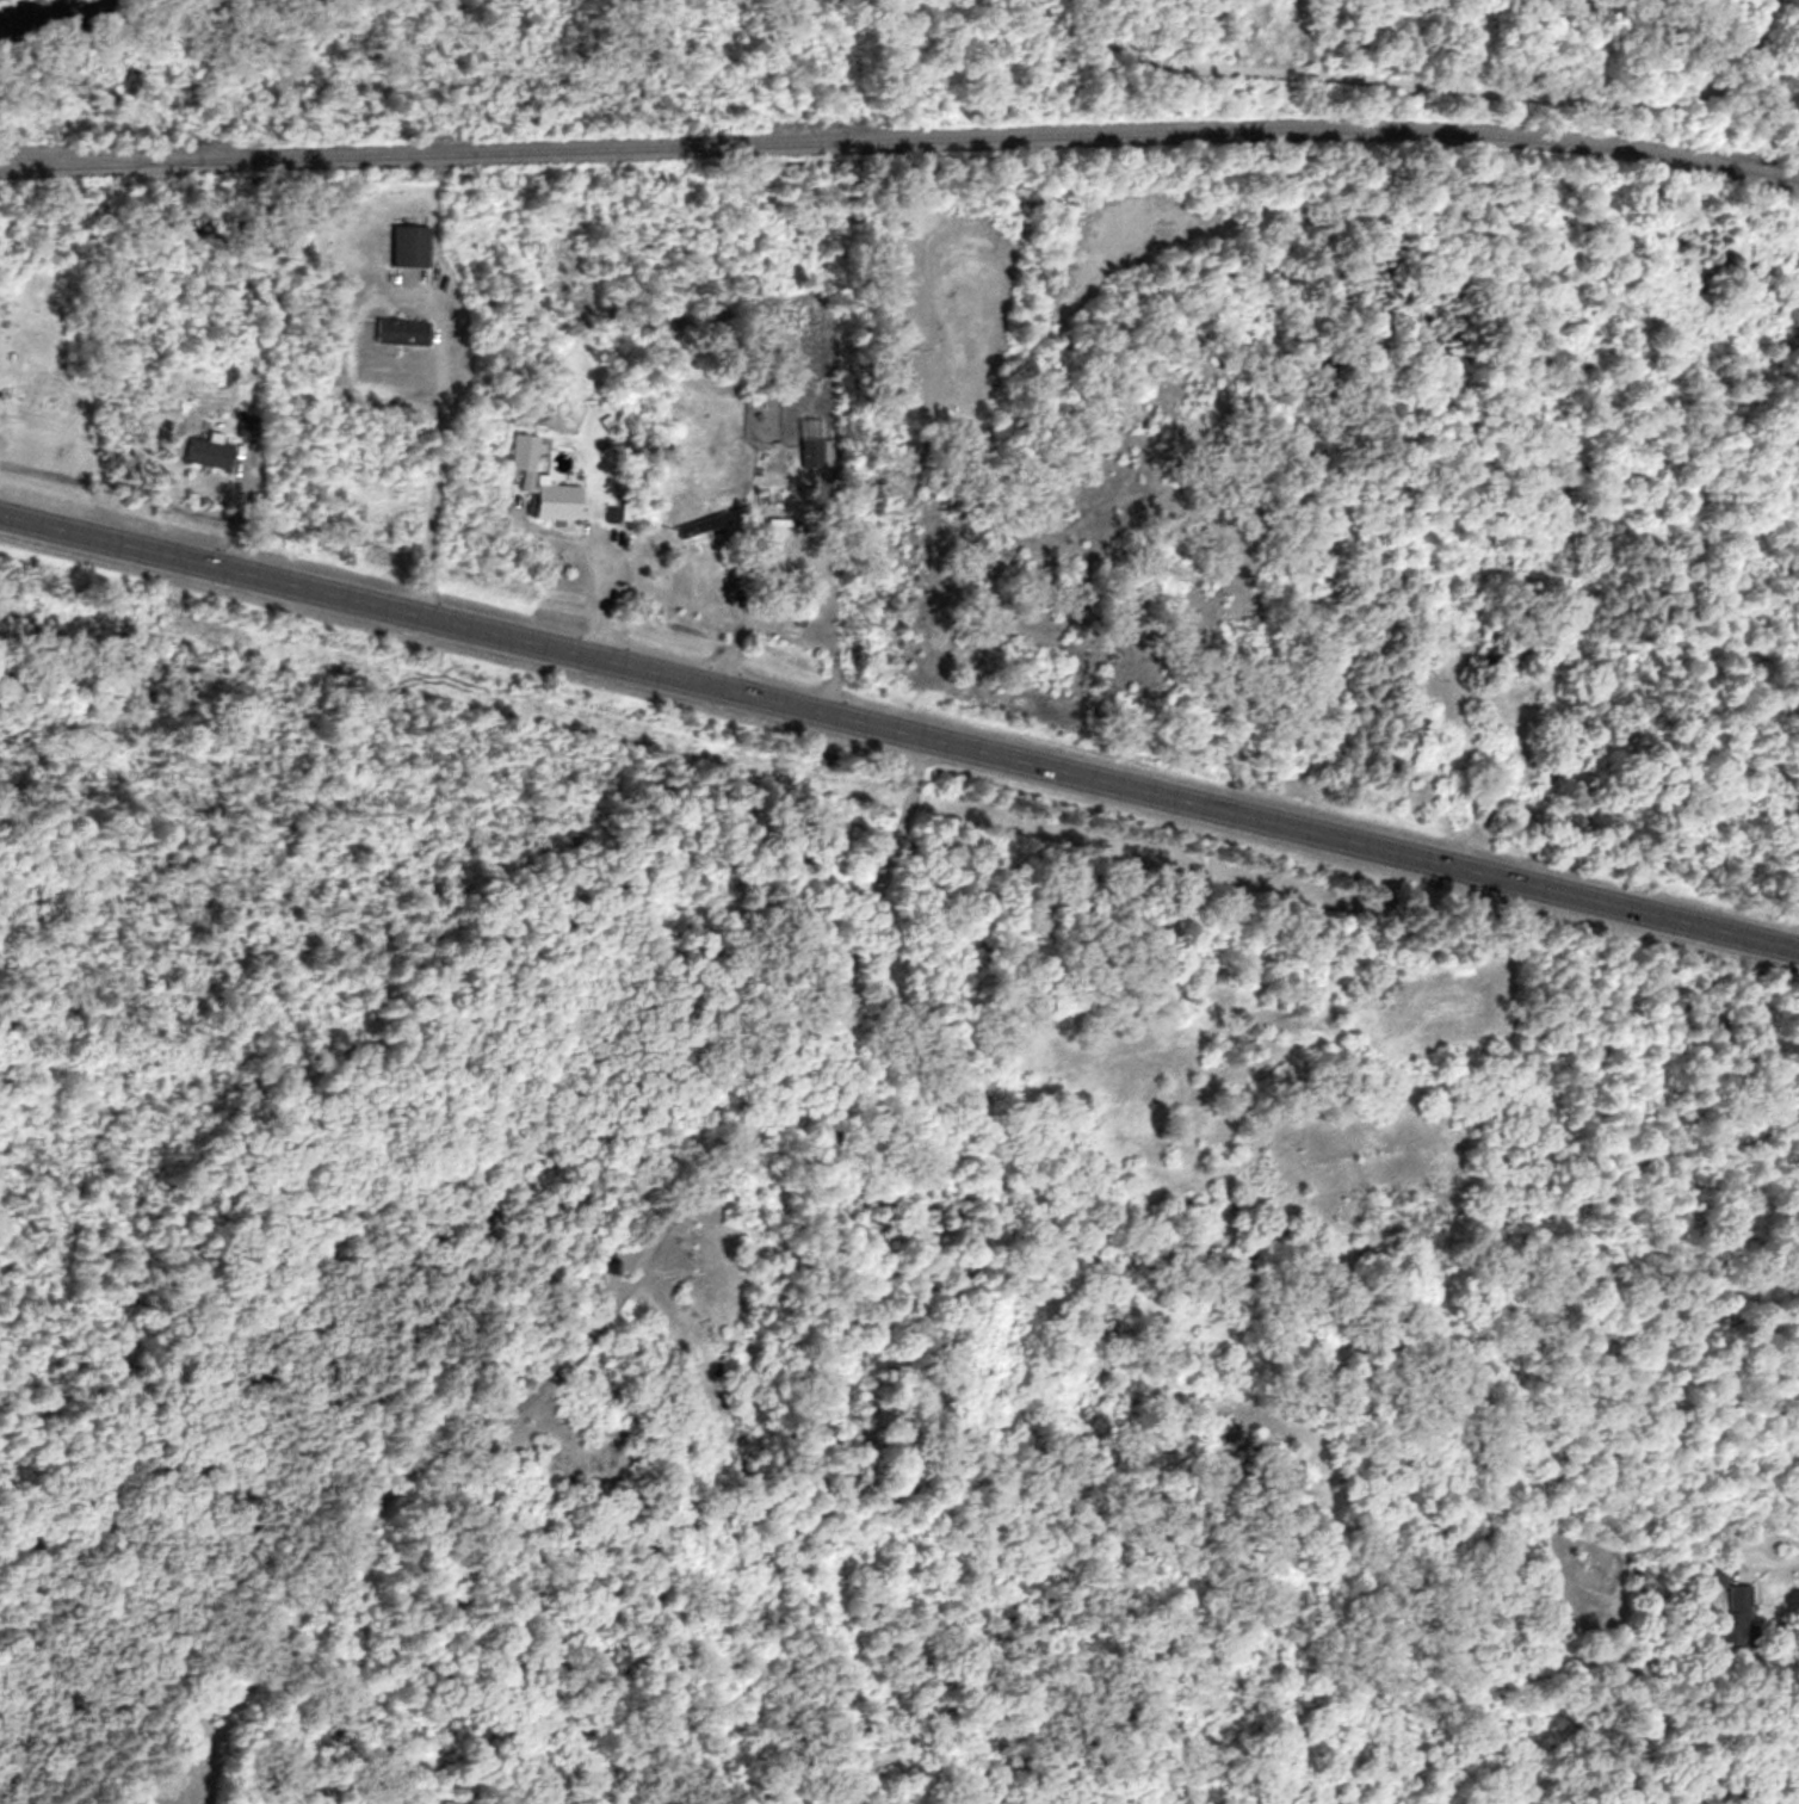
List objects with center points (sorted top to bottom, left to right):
railway: (901, 141)
railway: (85, 155)
building: (413, 242)
building: (402, 327)
building: (210, 449)
building: (525, 449)
building: (810, 451)
road: (429, 480)
building: (783, 488)
building: (561, 499)
building: (692, 527)
road: (595, 597)
road: (898, 737)
road: (1494, 1169)
road: (586, 1310)
road: (1776, 1556)
building: (1736, 1610)

